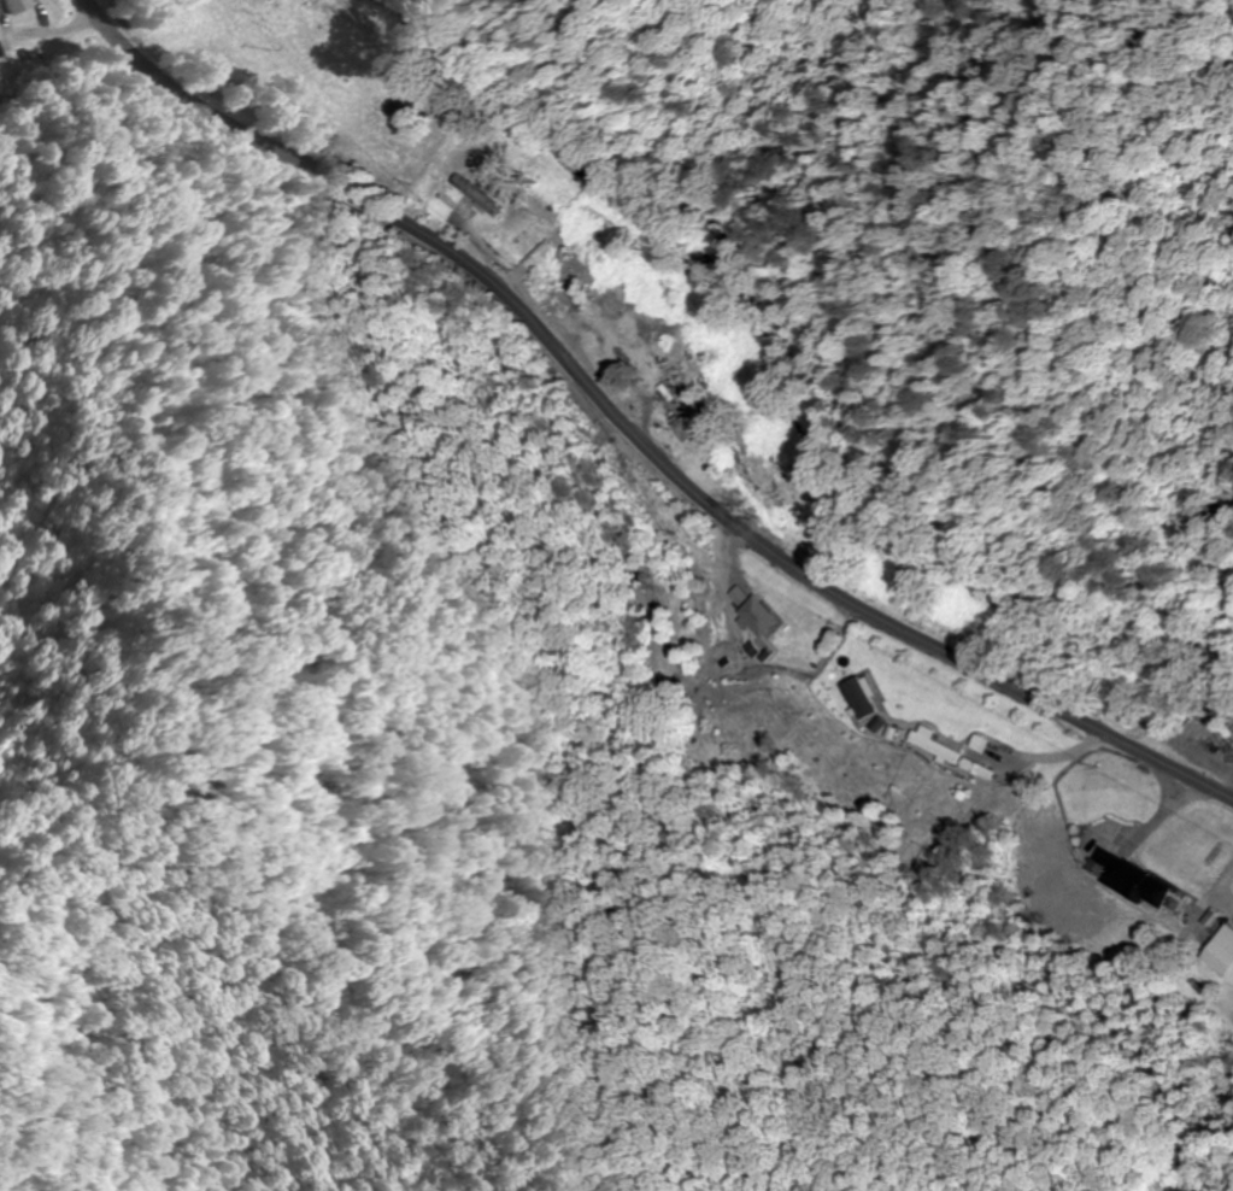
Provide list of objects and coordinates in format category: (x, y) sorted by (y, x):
building: (11, 4)
building: (469, 193)
road: (626, 432)
building: (701, 441)
building: (763, 611)
building: (943, 743)
building: (1144, 882)
building: (1223, 956)

